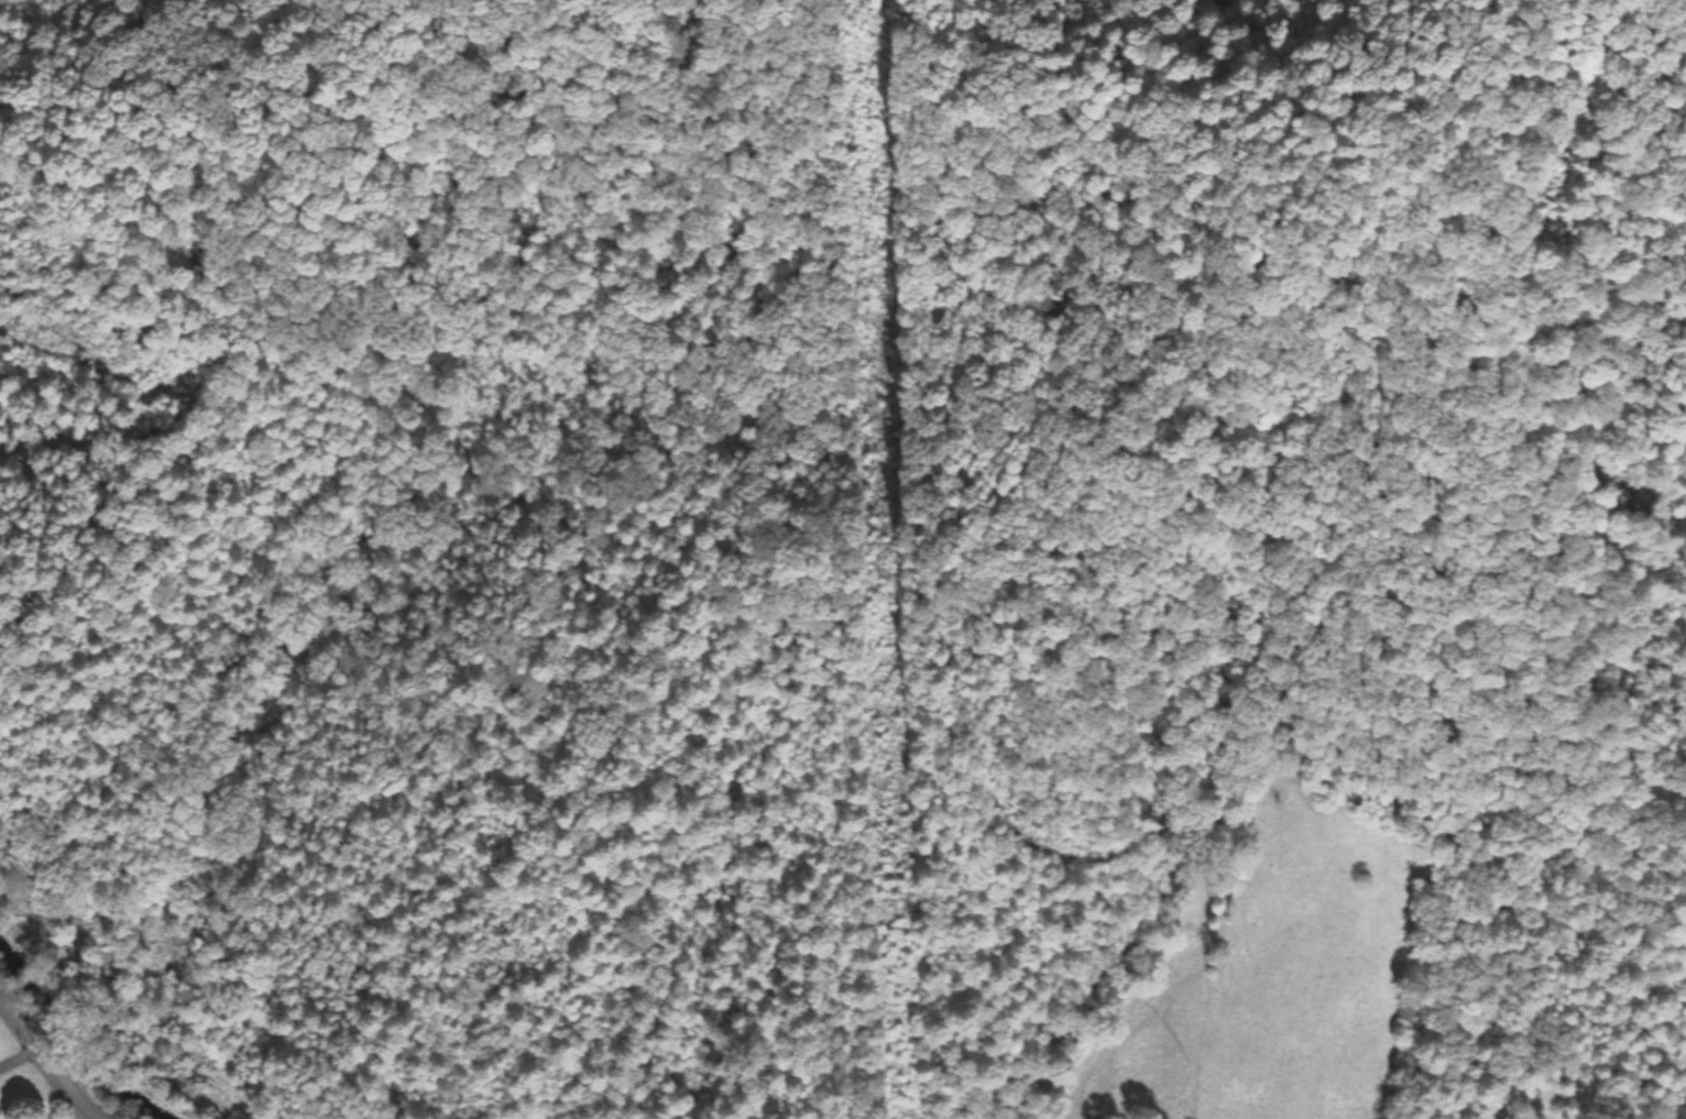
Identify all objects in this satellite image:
road: (20, 1023)
river: (80, 1049)
road: (20, 1061)
road: (66, 1085)

